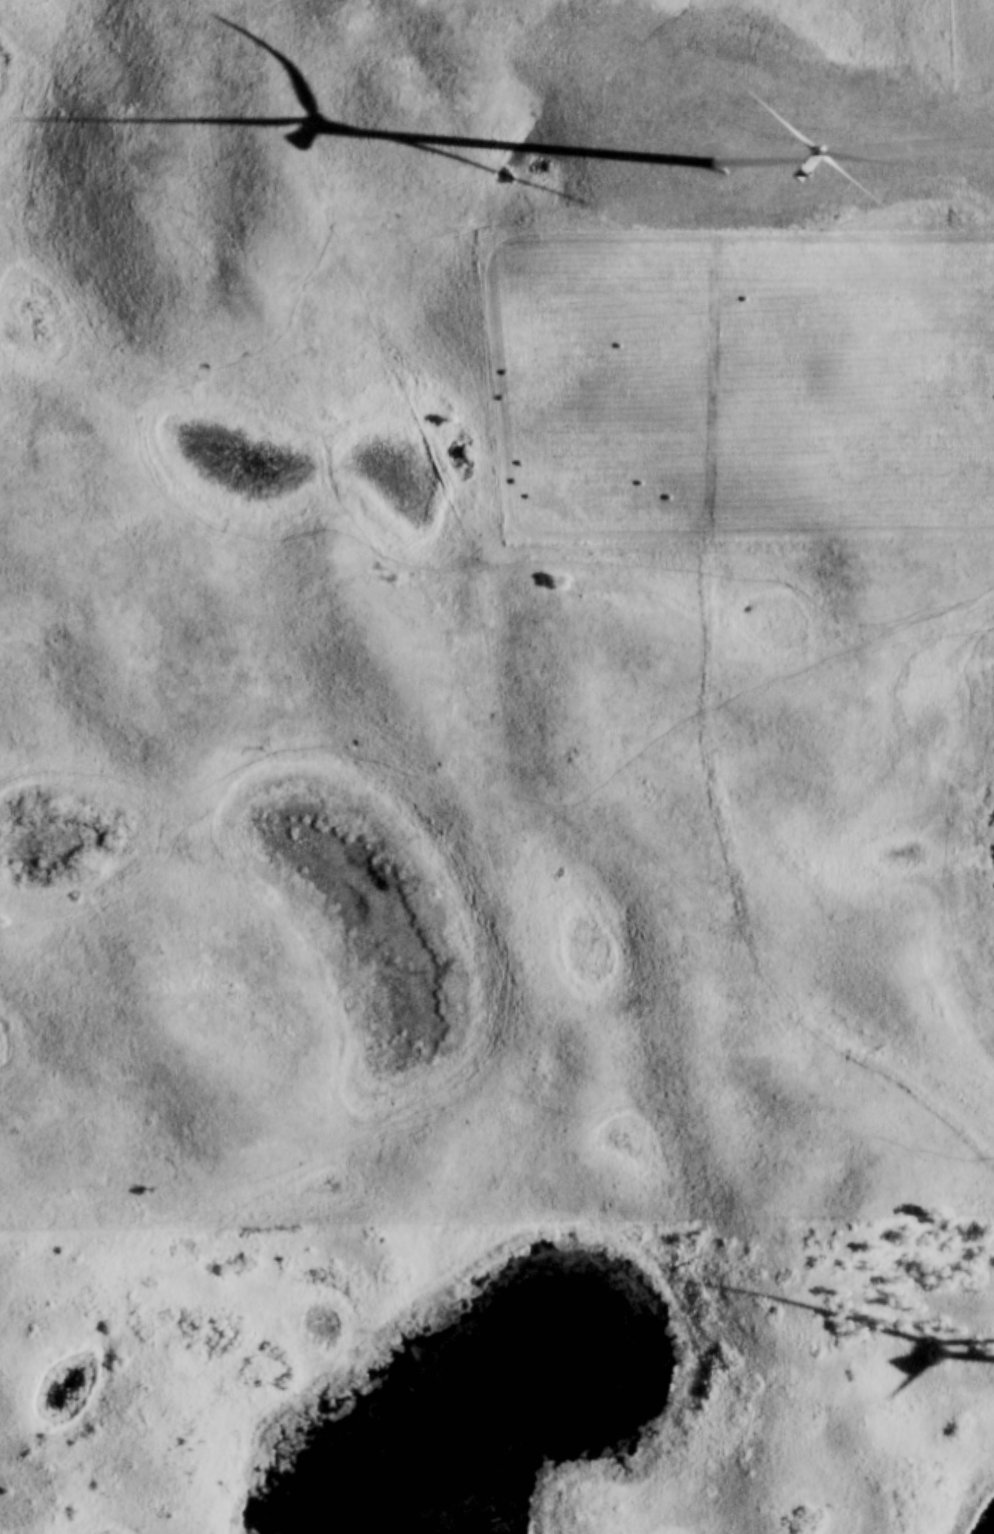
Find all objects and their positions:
wind turbine: (691, 149)
road: (882, 152)

